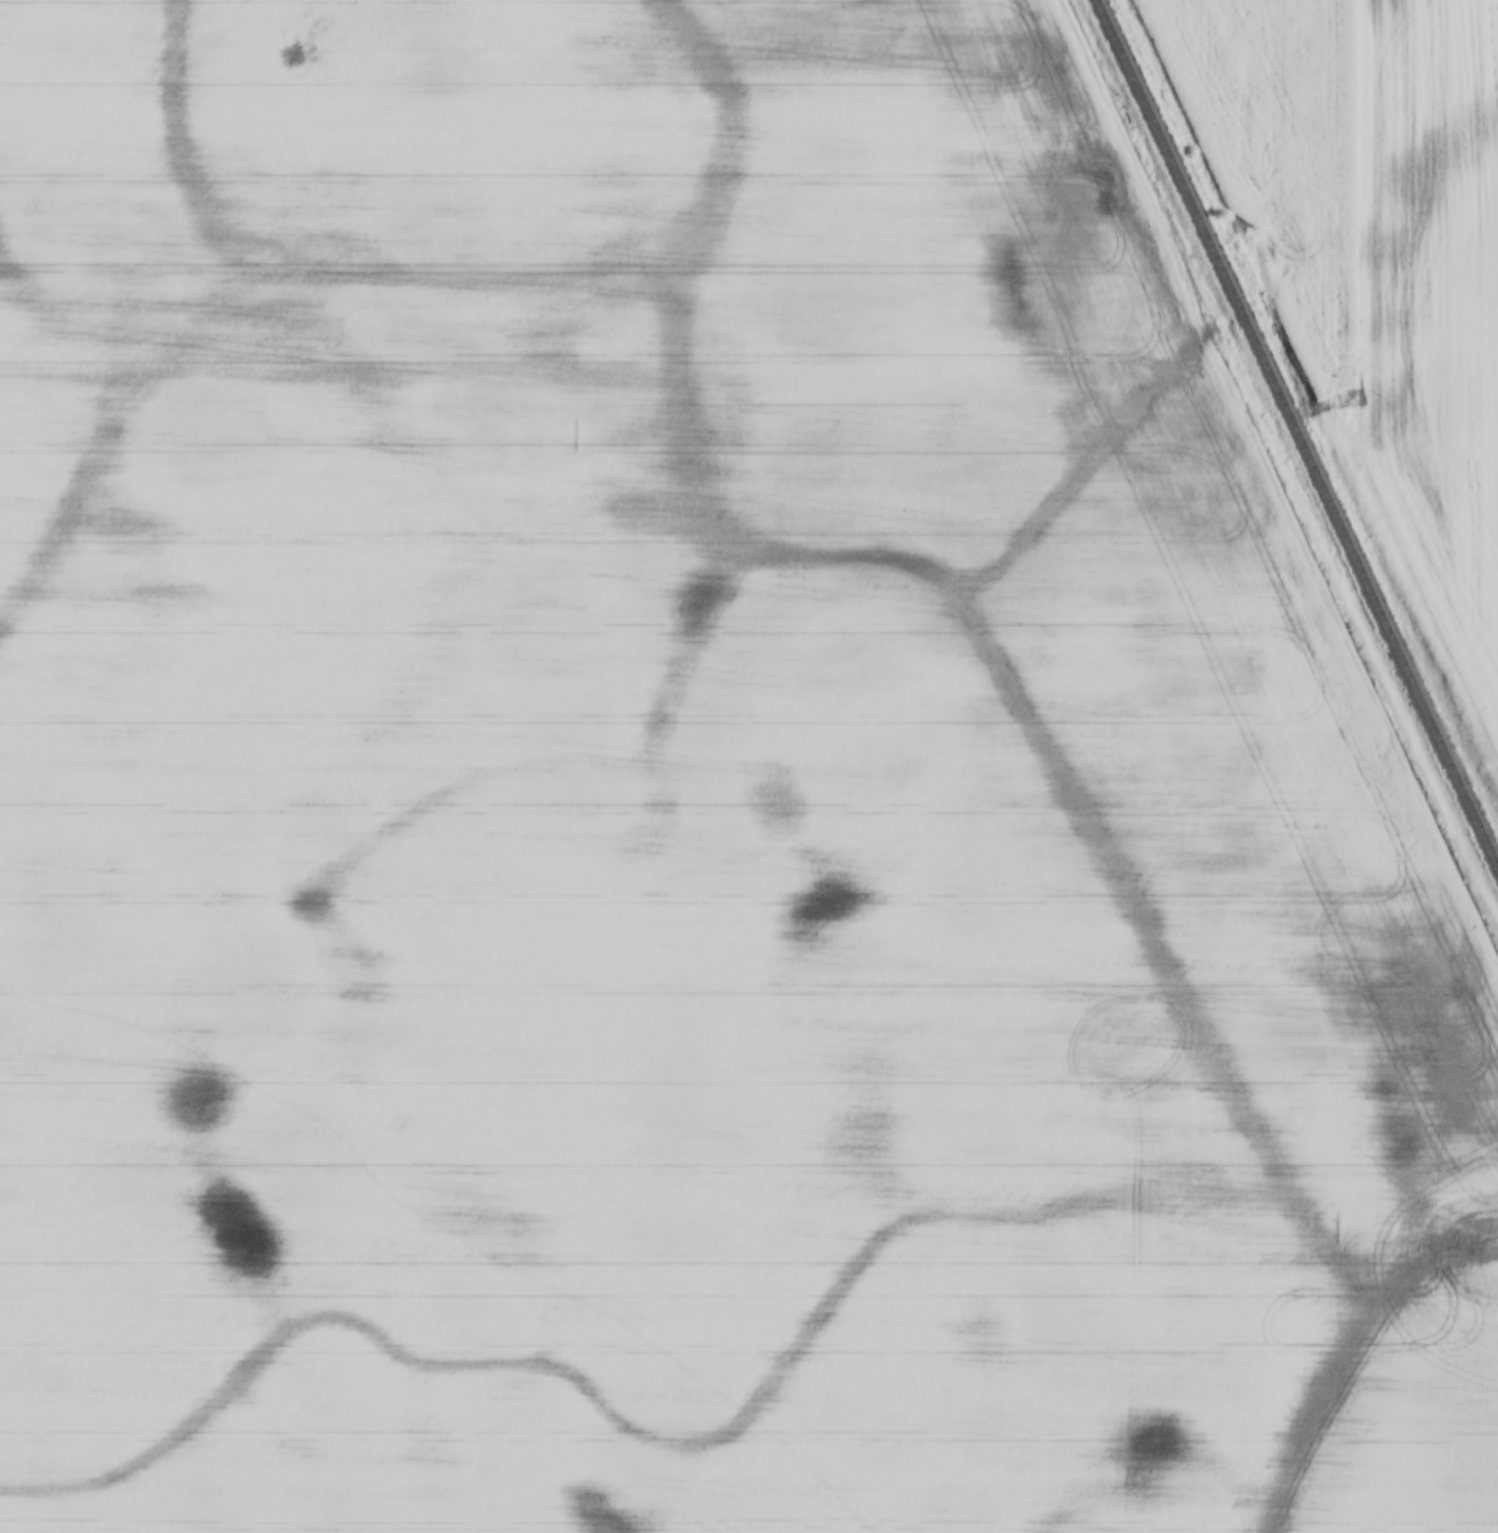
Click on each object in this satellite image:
railway: (1298, 429)

